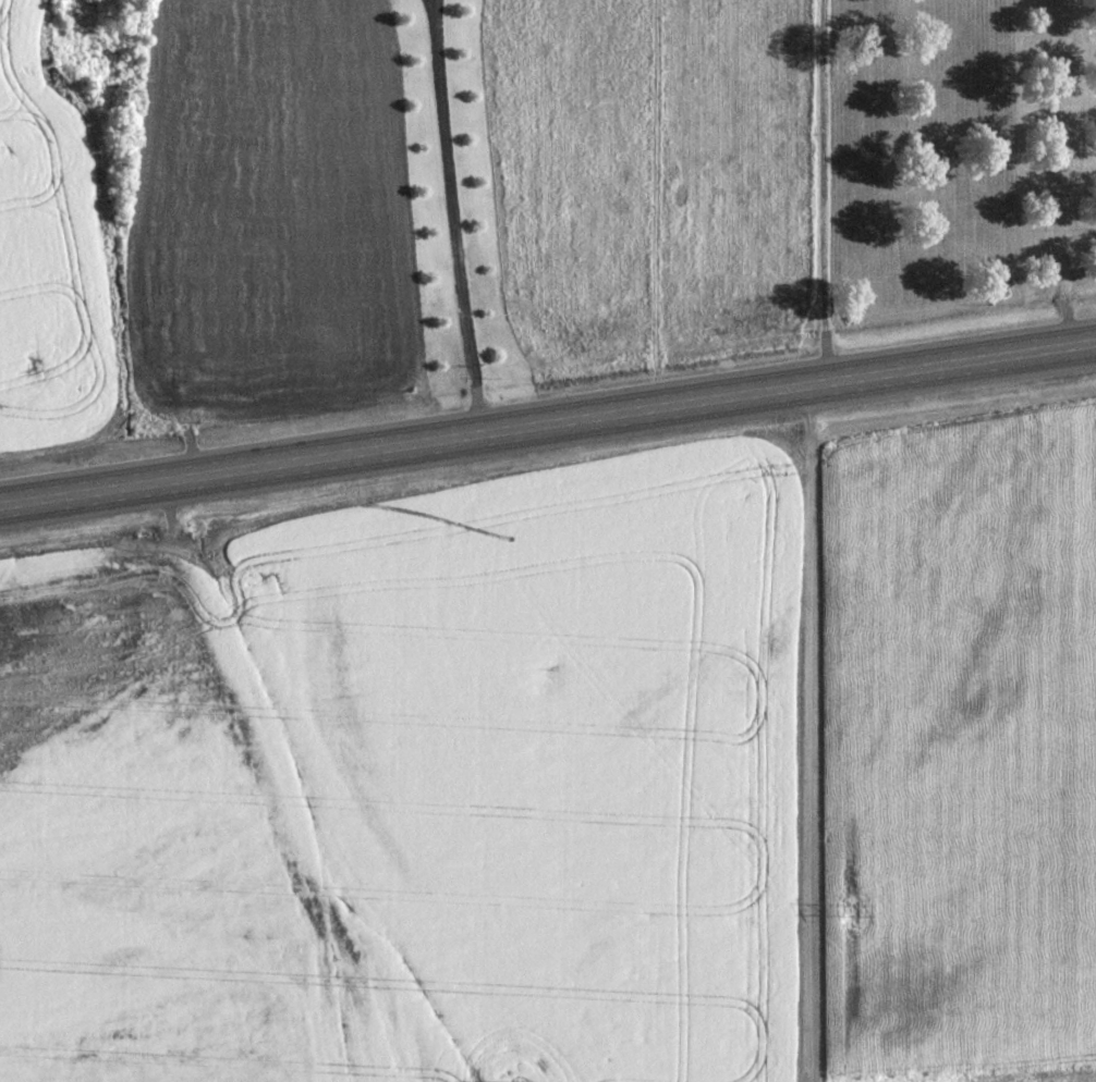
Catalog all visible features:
road: (828, 186)
road: (453, 211)
road: (548, 413)
power tower: (850, 911)

